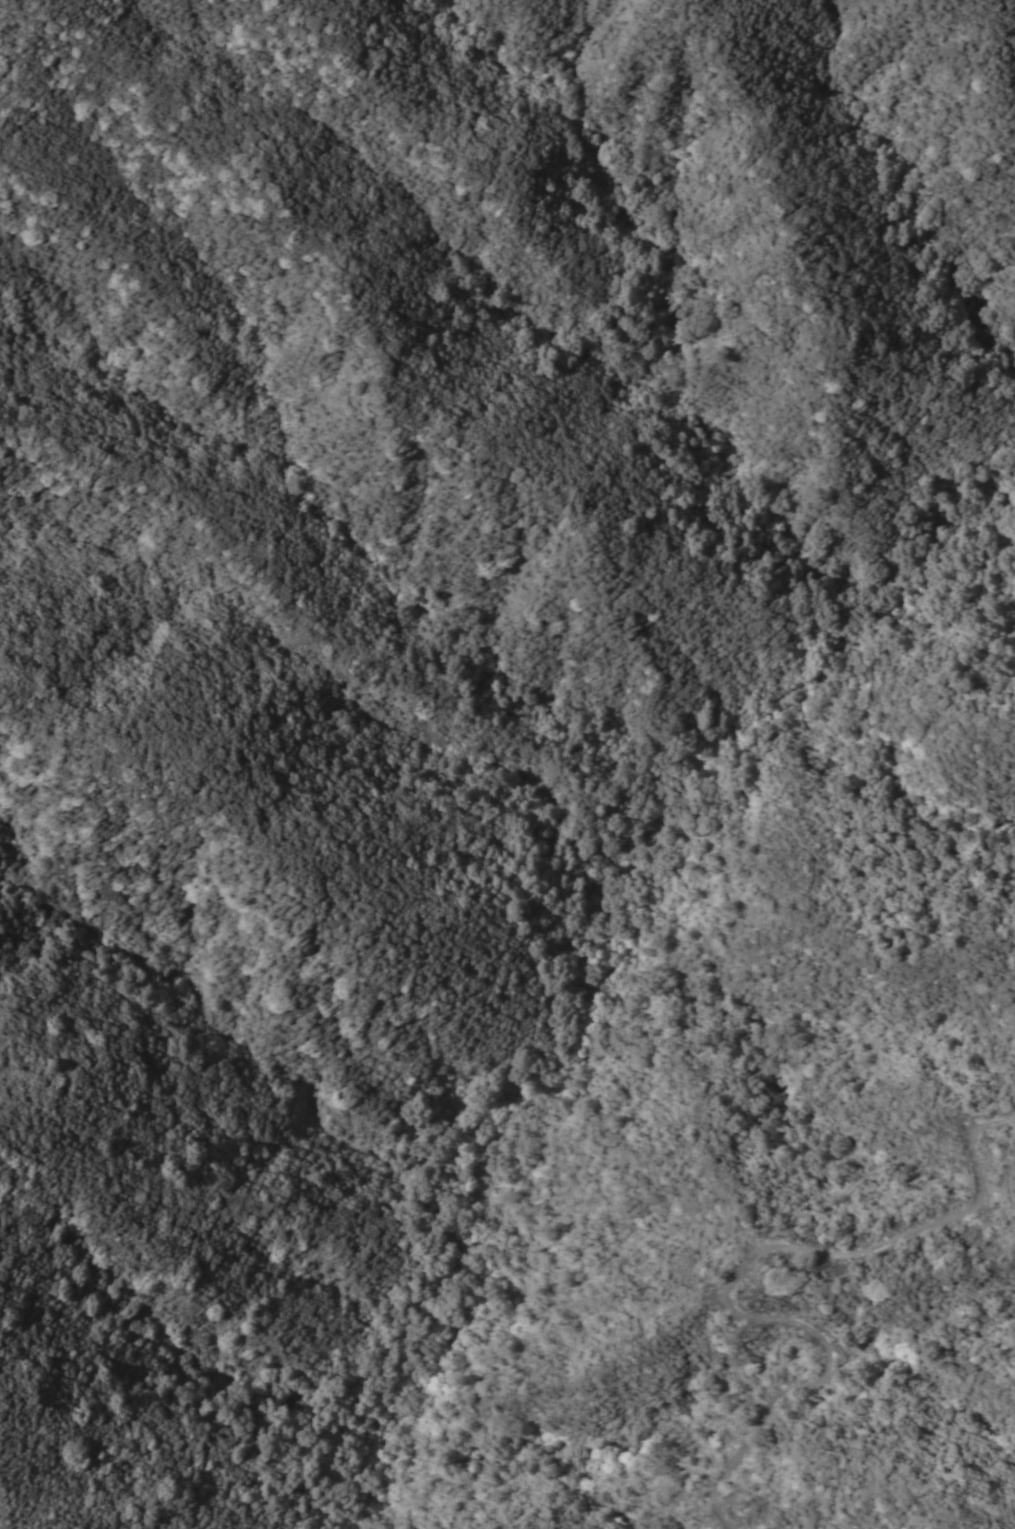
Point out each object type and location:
road: (767, 1294)

